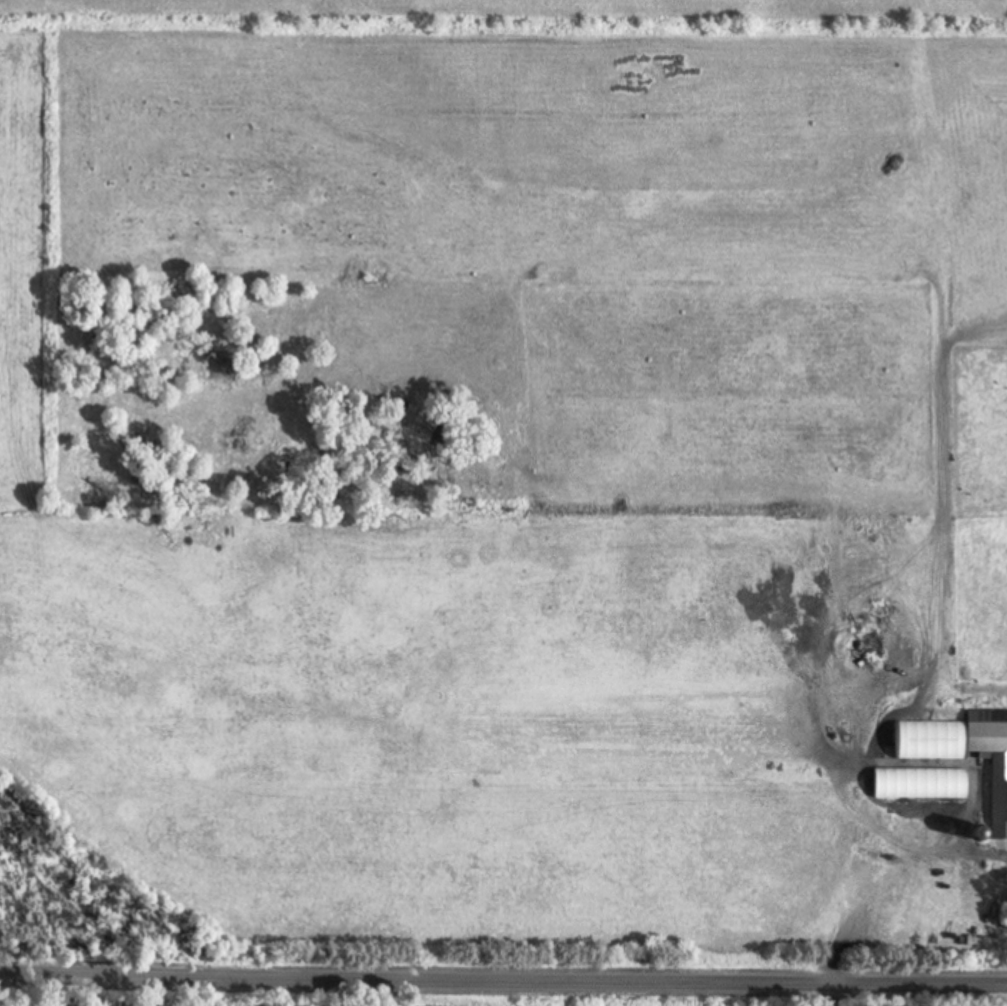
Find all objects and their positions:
building: (961, 753)
building: (926, 782)
road: (503, 989)

